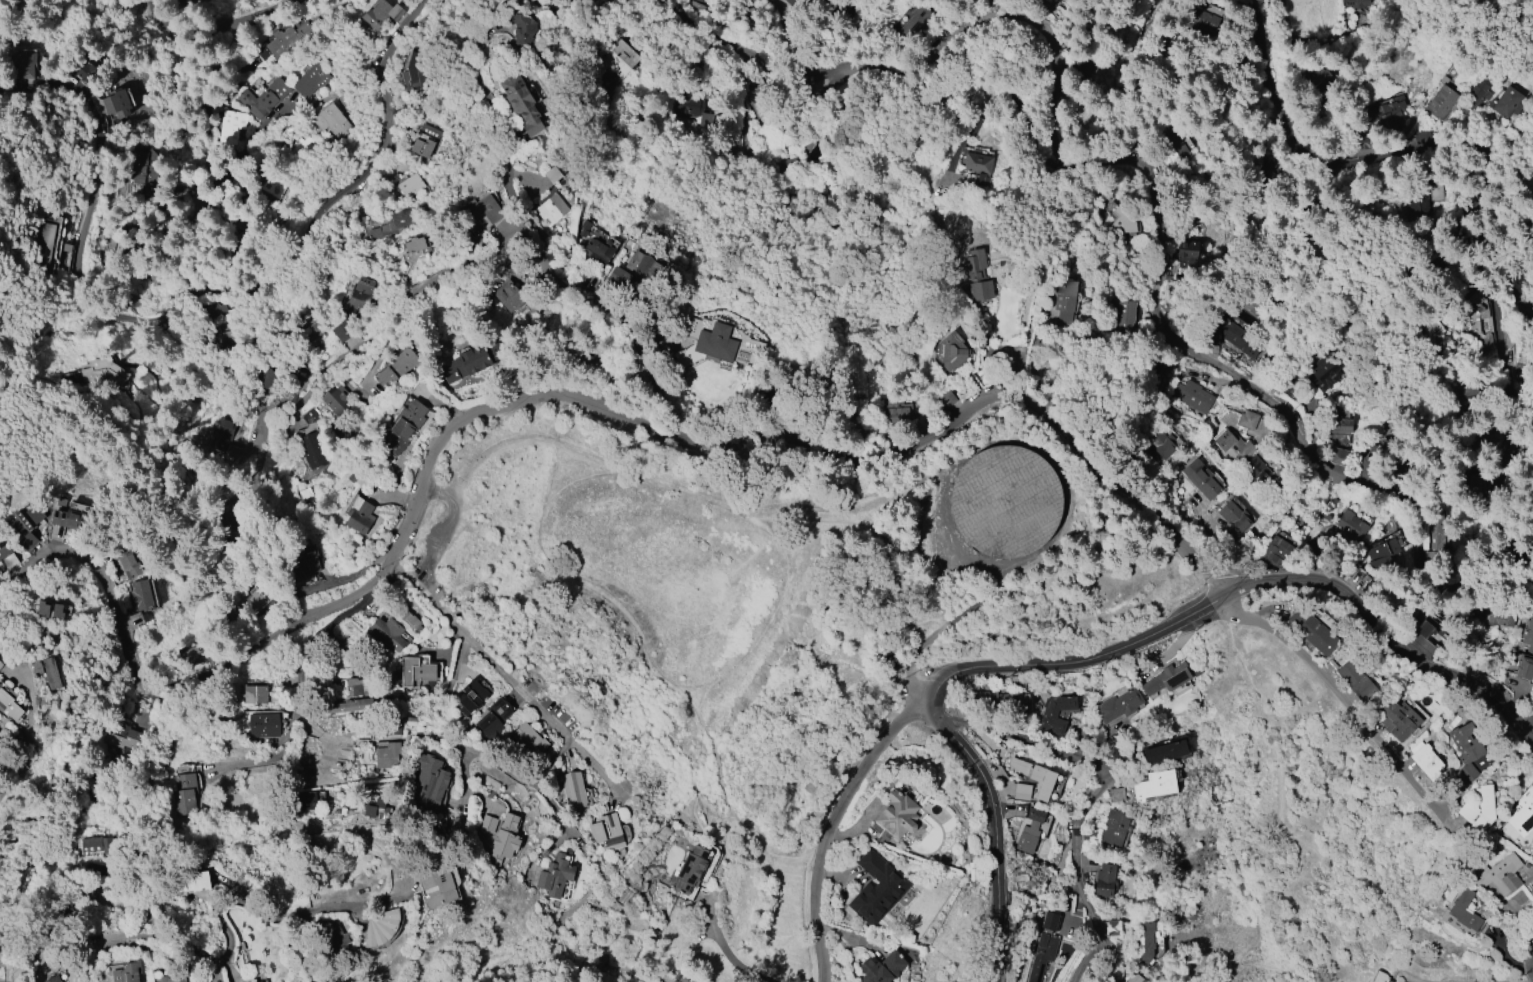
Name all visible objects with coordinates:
building: (788, 1)
building: (1355, 3)
road: (1148, 8)
building: (380, 14)
building: (1195, 17)
road: (219, 20)
building: (909, 21)
building: (523, 30)
road: (786, 36)
road: (105, 40)
building: (283, 40)
road: (736, 50)
building: (619, 58)
building: (22, 61)
building: (1082, 69)
building: (417, 70)
building: (314, 80)
building: (263, 98)
building: (1474, 99)
building: (118, 102)
building: (1442, 102)
building: (1505, 102)
building: (521, 104)
building: (690, 107)
building: (1387, 114)
building: (331, 122)
building: (230, 126)
building: (426, 141)
road: (1064, 142)
building: (1173, 146)
road: (1448, 147)
road: (752, 151)
building: (291, 155)
building: (977, 162)
building: (144, 167)
building: (552, 174)
building: (273, 186)
building: (404, 188)
building: (1423, 203)
building: (551, 210)
building: (480, 211)
building: (1122, 223)
building: (393, 227)
building: (584, 227)
building: (415, 244)
building: (49, 247)
building: (1189, 248)
road: (7, 249)
road: (490, 251)
building: (602, 253)
road: (1497, 258)
building: (1440, 262)
building: (644, 265)
building: (619, 275)
building: (976, 276)
road: (191, 290)
building: (360, 294)
building: (509, 296)
building: (1469, 297)
building: (1064, 300)
building: (1124, 319)
building: (342, 330)
building: (309, 331)
building: (1230, 334)
building: (1463, 339)
building: (716, 342)
building: (1486, 343)
building: (953, 351)
building: (472, 359)
building: (395, 368)
building: (101, 371)
building: (1324, 371)
building: (1192, 396)
road: (532, 400)
building: (945, 400)
building: (339, 401)
building: (897, 412)
road: (125, 417)
building: (1246, 420)
building: (1338, 423)
building: (405, 425)
road: (1290, 425)
road: (1512, 427)
building: (221, 430)
building: (1161, 444)
building: (1231, 447)
building: (312, 449)
building: (1337, 456)
building: (1257, 473)
road: (950, 474)
building: (352, 475)
building: (1200, 478)
building: (1005, 501)
silo: (1007, 501)
building: (74, 515)
building: (359, 515)
building: (1234, 516)
building: (26, 519)
building: (1351, 524)
road: (848, 525)
building: (1436, 532)
road: (1420, 539)
building: (27, 540)
building: (1276, 551)
building: (1381, 551)
building: (37, 555)
building: (6, 558)
building: (127, 560)
building: (303, 567)
road: (1213, 578)
building: (261, 593)
building: (141, 596)
building: (51, 609)
building: (1494, 613)
building: (411, 622)
road: (1386, 631)
building: (1313, 633)
building: (385, 636)
building: (192, 649)
building: (1526, 652)
road: (652, 657)
road: (1074, 657)
building: (0, 665)
building: (416, 670)
building: (48, 671)
road: (510, 675)
building: (1166, 678)
road: (911, 679)
building: (1355, 680)
building: (355, 687)
road: (1330, 688)
building: (255, 694)
building: (474, 694)
road: (302, 695)
building: (1002, 698)
building: (350, 705)
building: (1119, 705)
building: (9, 706)
road: (29, 711)
building: (1055, 713)
building: (494, 718)
building: (1398, 719)
building: (409, 721)
building: (263, 724)
building: (392, 727)
building: (124, 736)
building: (529, 740)
building: (1465, 742)
building: (1164, 752)
building: (388, 756)
road: (489, 758)
building: (1426, 761)
road: (554, 762)
road: (14, 773)
road: (463, 773)
building: (1466, 773)
building: (1035, 777)
building: (430, 784)
building: (1155, 784)
building: (573, 789)
building: (1022, 791)
building: (183, 794)
building: (1116, 794)
road: (1090, 798)
building: (304, 800)
building: (372, 806)
building: (1479, 807)
building: (1522, 812)
road: (559, 814)
building: (894, 815)
road: (1281, 818)
road: (830, 821)
building: (487, 823)
building: (1114, 827)
road: (994, 829)
building: (1032, 830)
building: (607, 832)
building: (1089, 838)
building: (504, 839)
building: (92, 845)
building: (689, 869)
building: (1498, 874)
building: (555, 876)
building: (1104, 880)
building: (191, 881)
building: (436, 887)
building: (875, 889)
building: (1464, 910)
building: (381, 927)
building: (1112, 927)
building: (337, 935)
road: (230, 939)
building: (1147, 941)
building: (1043, 947)
road: (736, 958)
building: (881, 968)
building: (127, 972)
building: (1131, 975)
building: (1380, 977)
building: (54, 978)
building: (168, 979)
building: (260, 981)
building: (264, 981)
building: (1113, 981)
road: (1420, 981)

